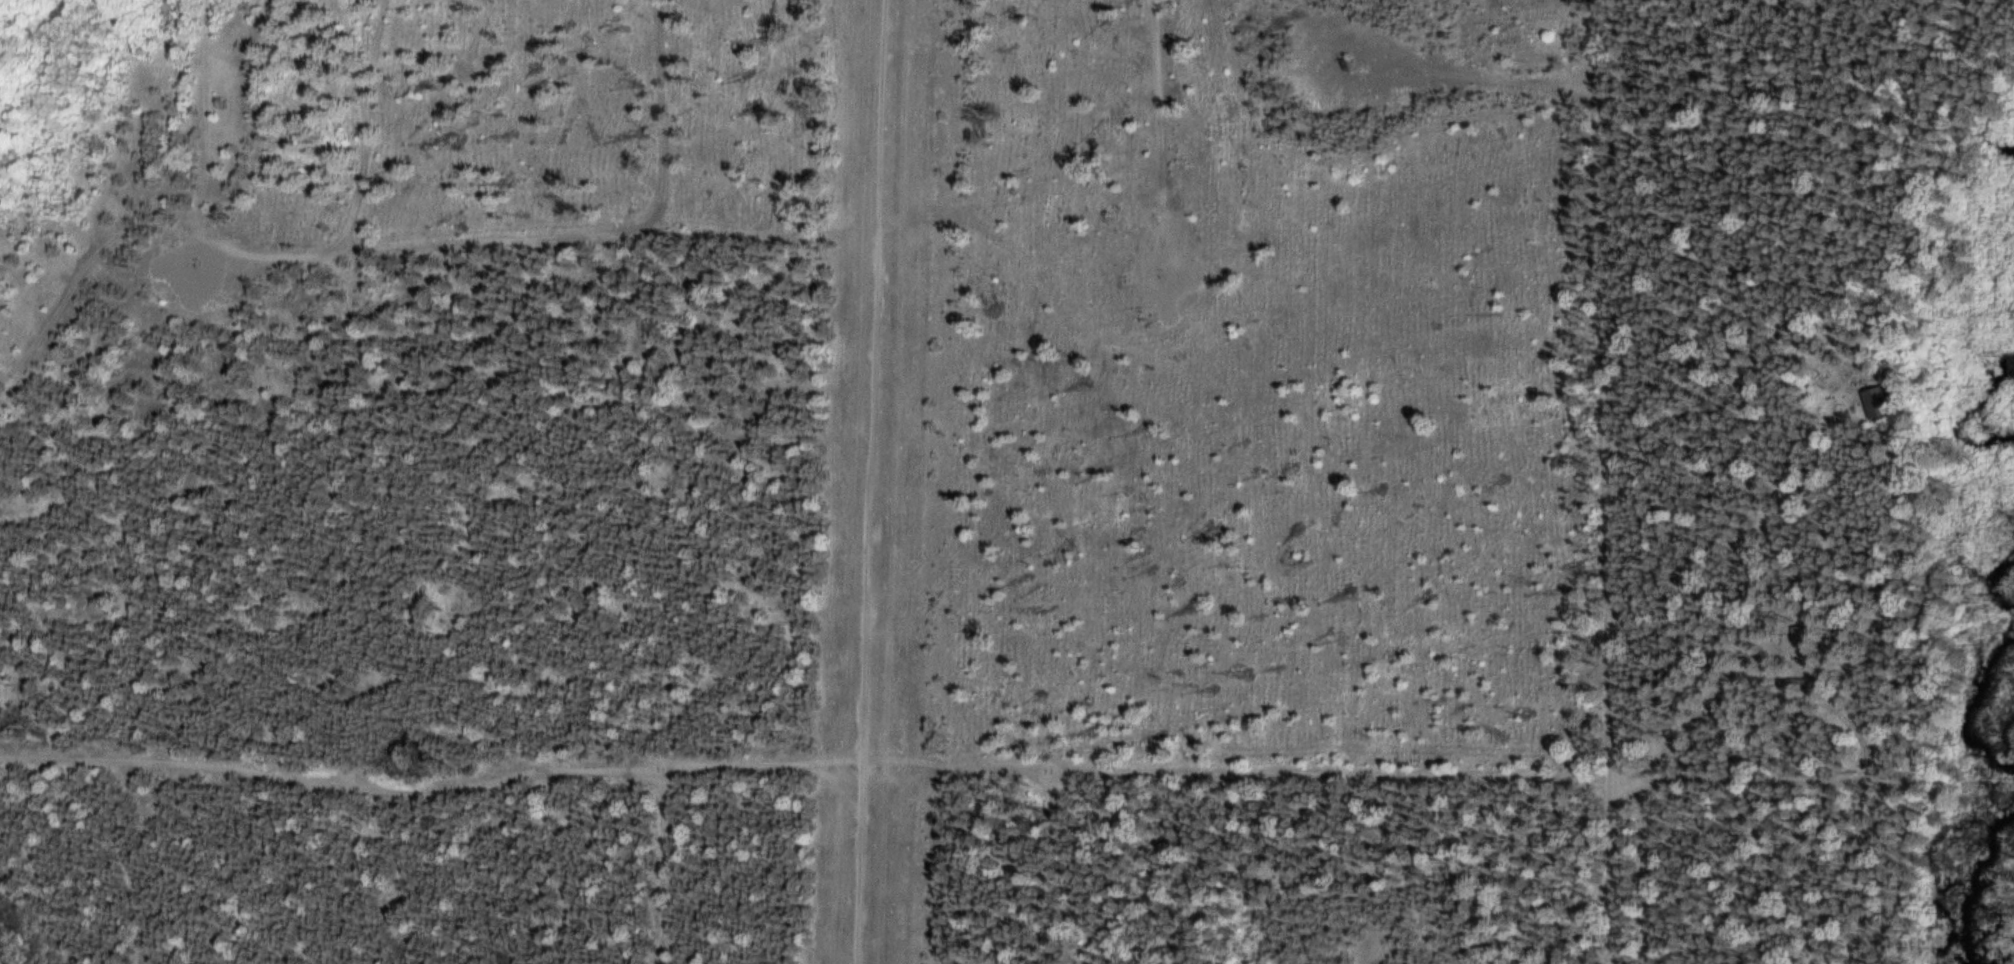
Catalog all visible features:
petroleum well: (1342, 60)
road: (1169, 102)
road: (357, 129)
road: (302, 259)
building: (1850, 371)
road: (866, 377)
road: (1604, 391)
building: (1874, 401)
road: (655, 481)
road: (324, 778)
road: (1132, 779)
road: (854, 859)
road: (1618, 874)

